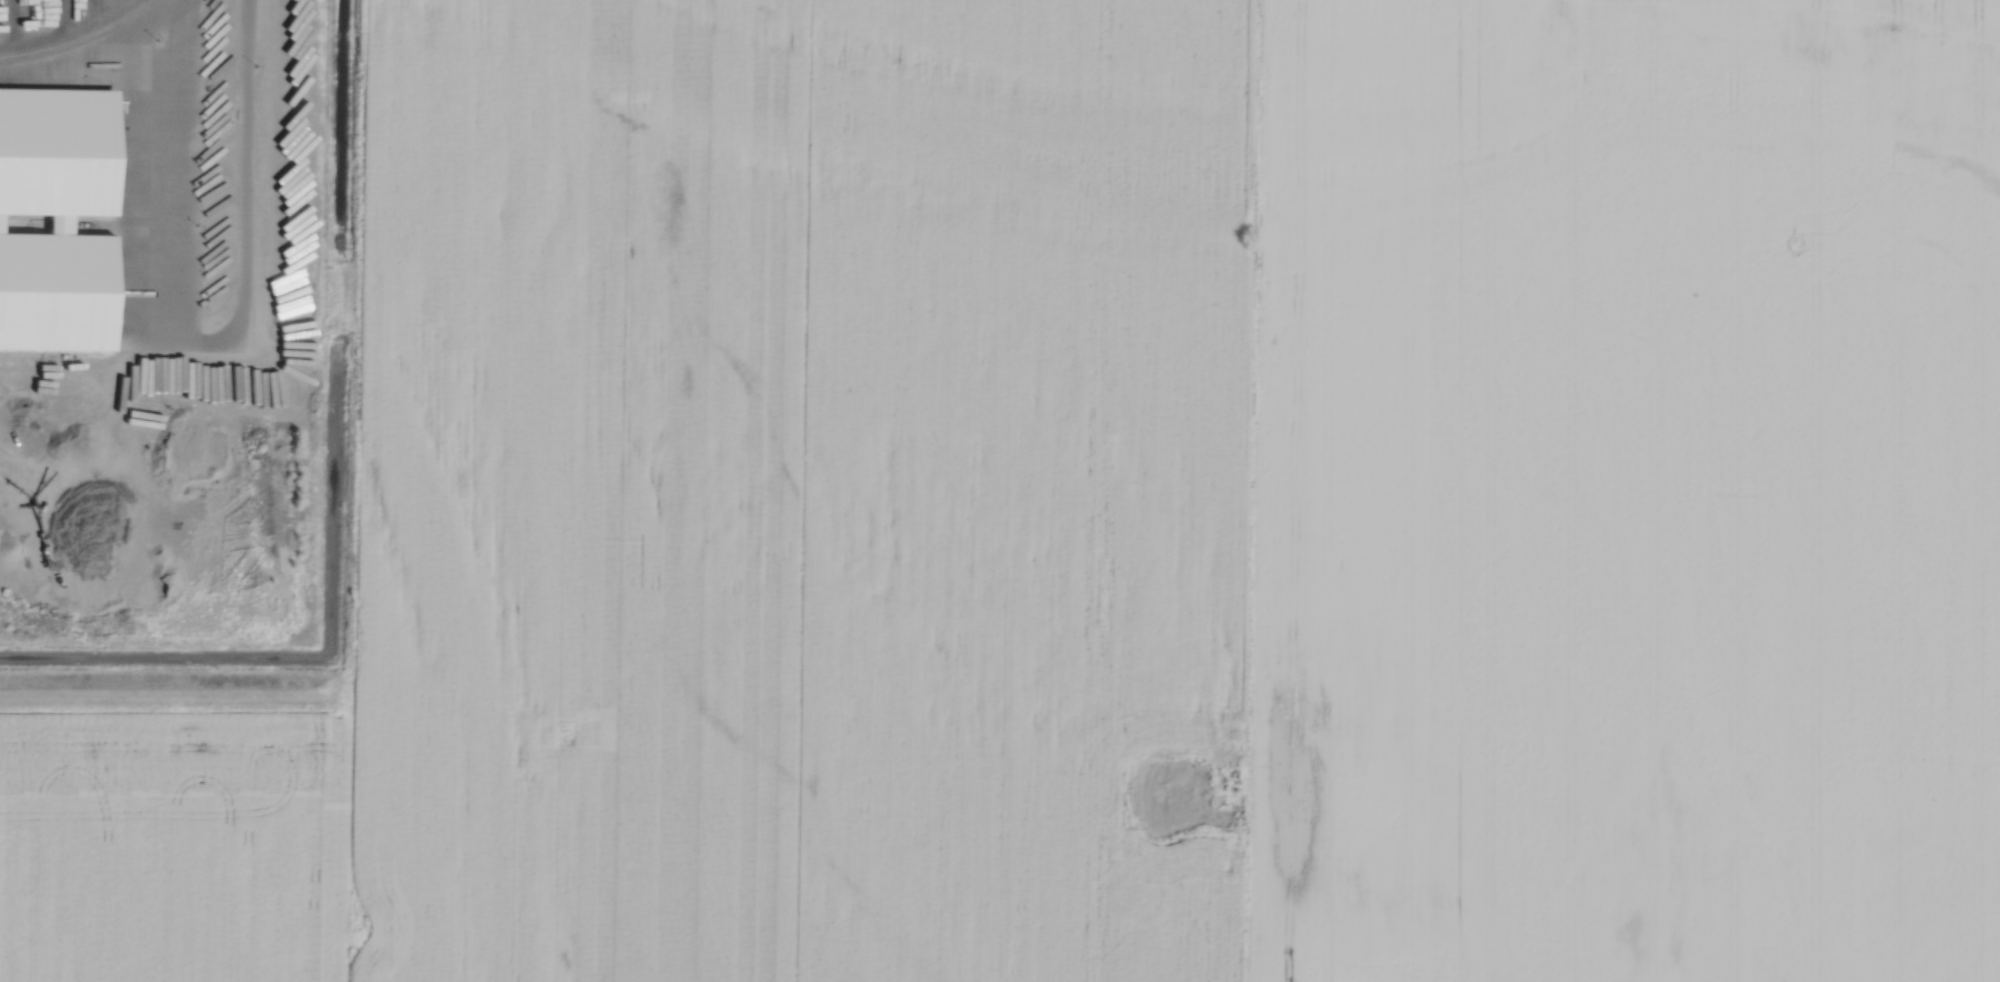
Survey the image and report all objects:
road: (16, 22)
road: (47, 37)
railway: (80, 40)
road: (87, 71)
building: (56, 149)
building: (1, 221)
building: (61, 222)
building: (57, 289)
road: (203, 340)

